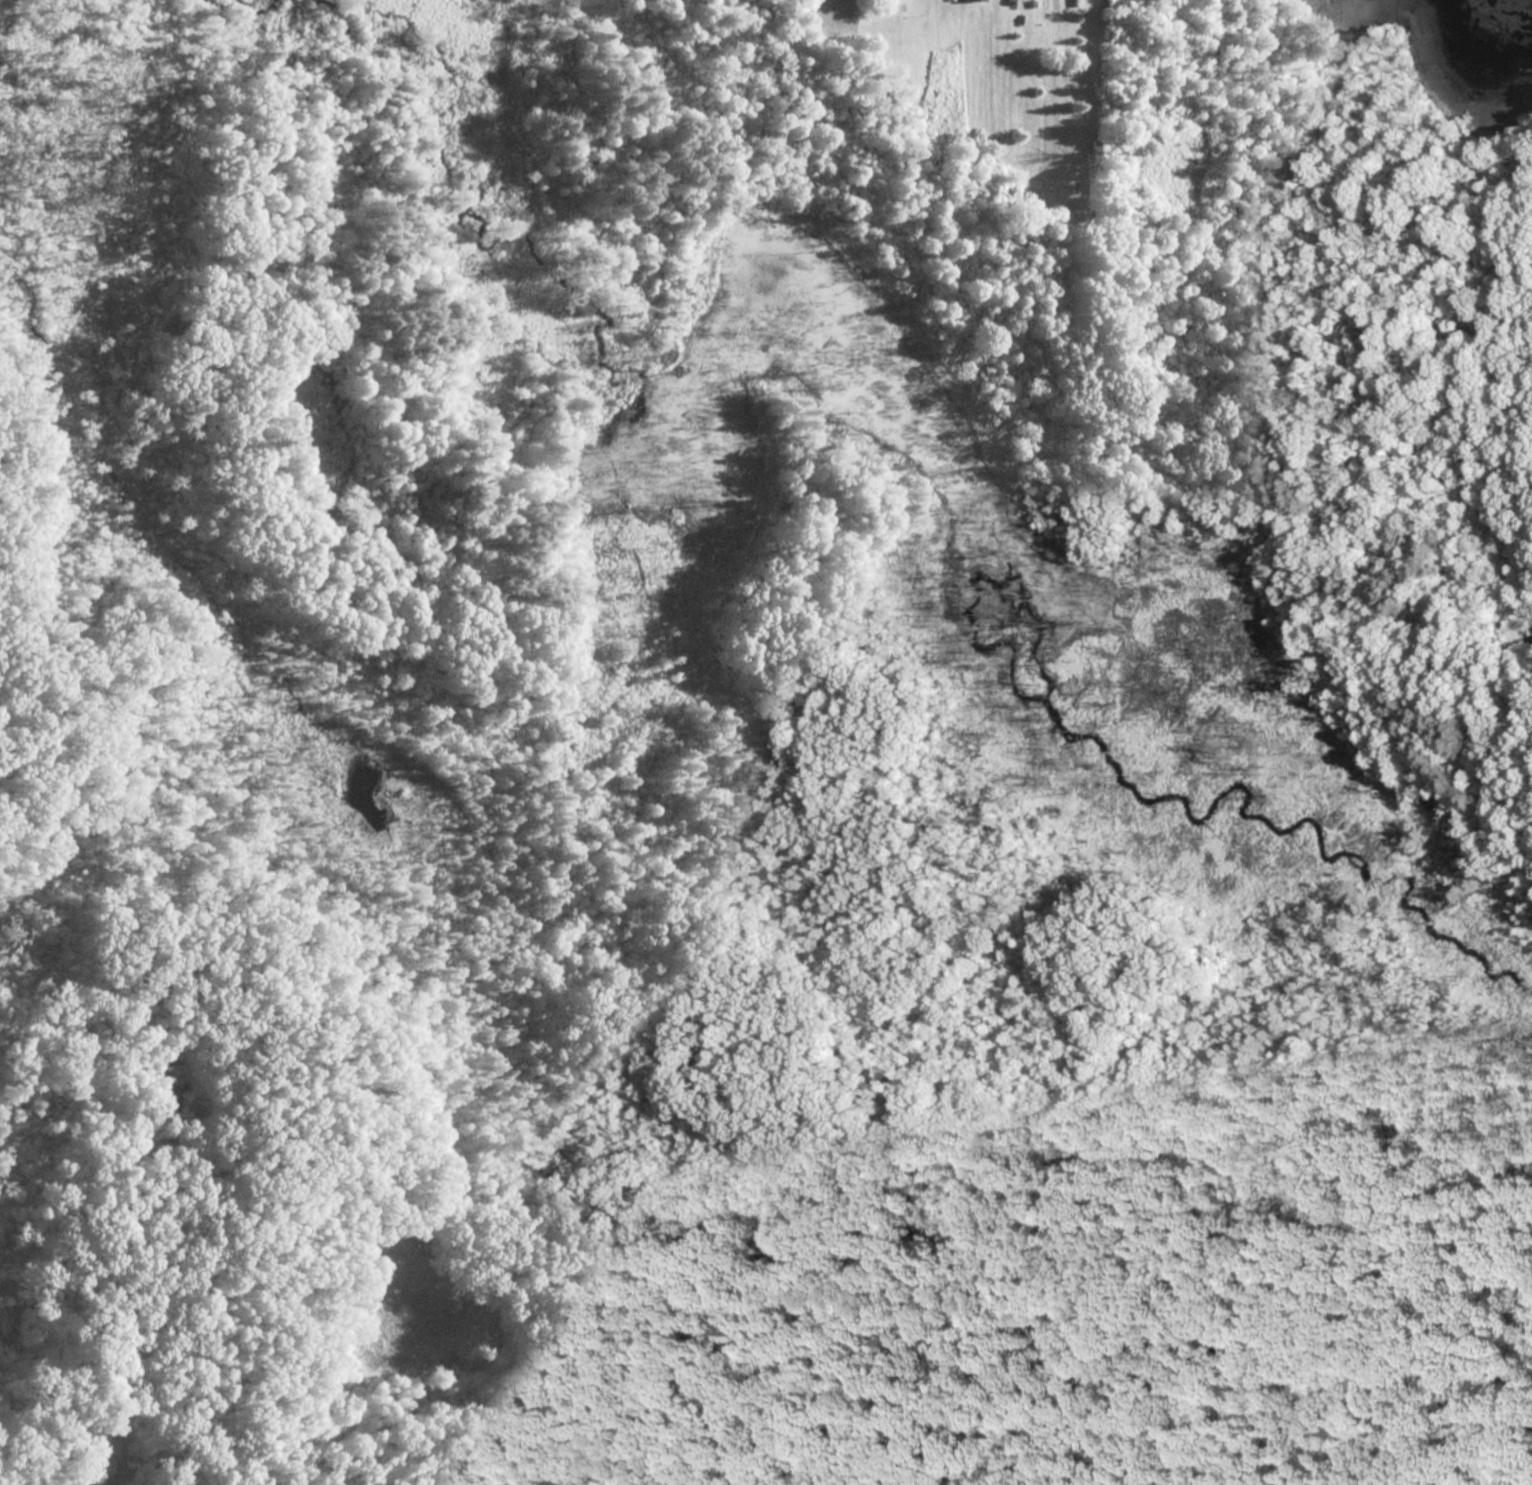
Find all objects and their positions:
building: (971, 0)
park: (762, 753)

